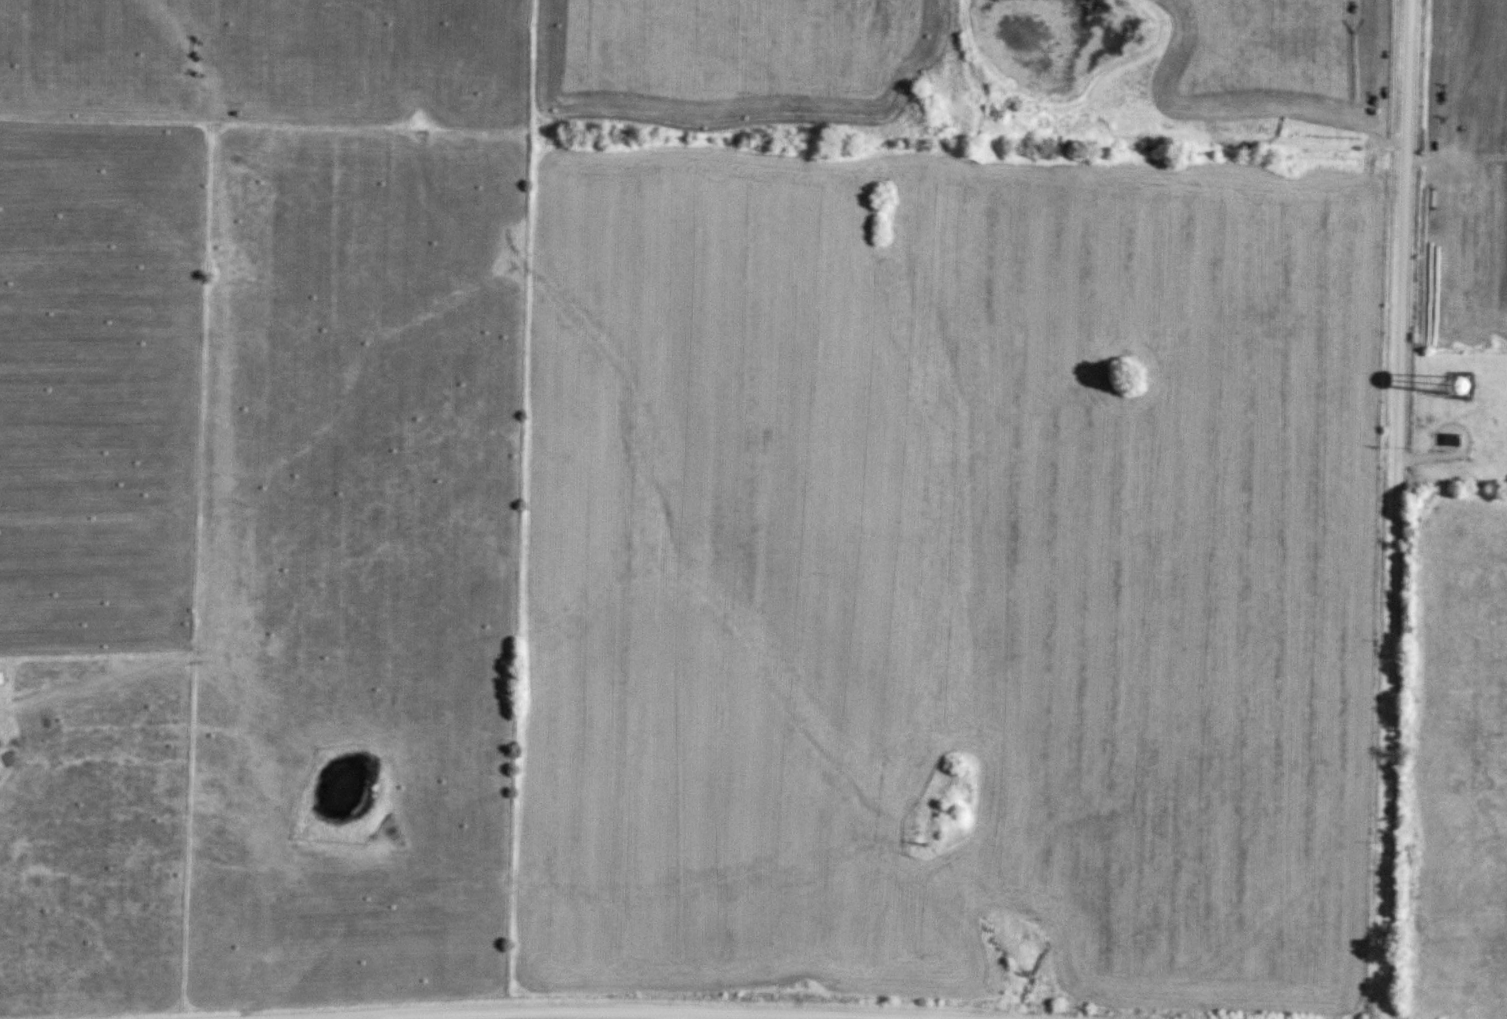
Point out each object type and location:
road: (1397, 509)
road: (582, 1015)
road: (553, 1017)

